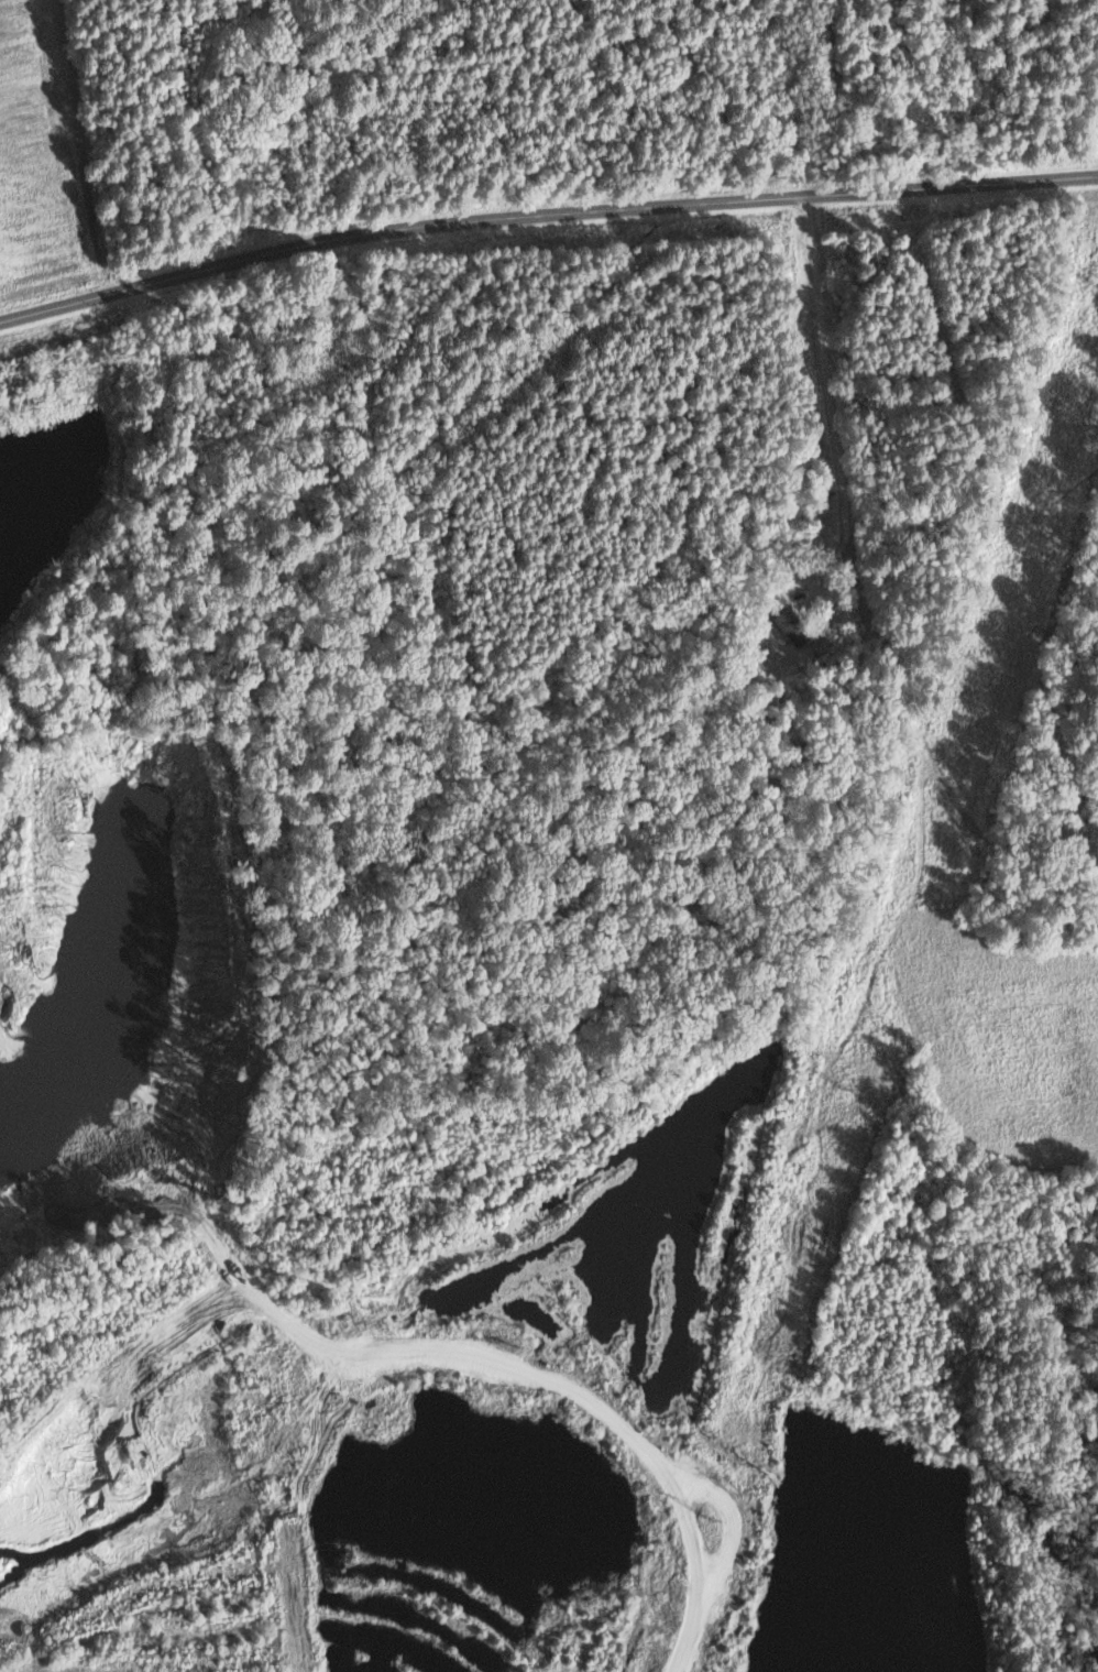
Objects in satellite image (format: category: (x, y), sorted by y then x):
road: (543, 215)
building: (788, 620)
power tower: (995, 671)
power tower: (847, 1094)
power tower: (704, 1521)

